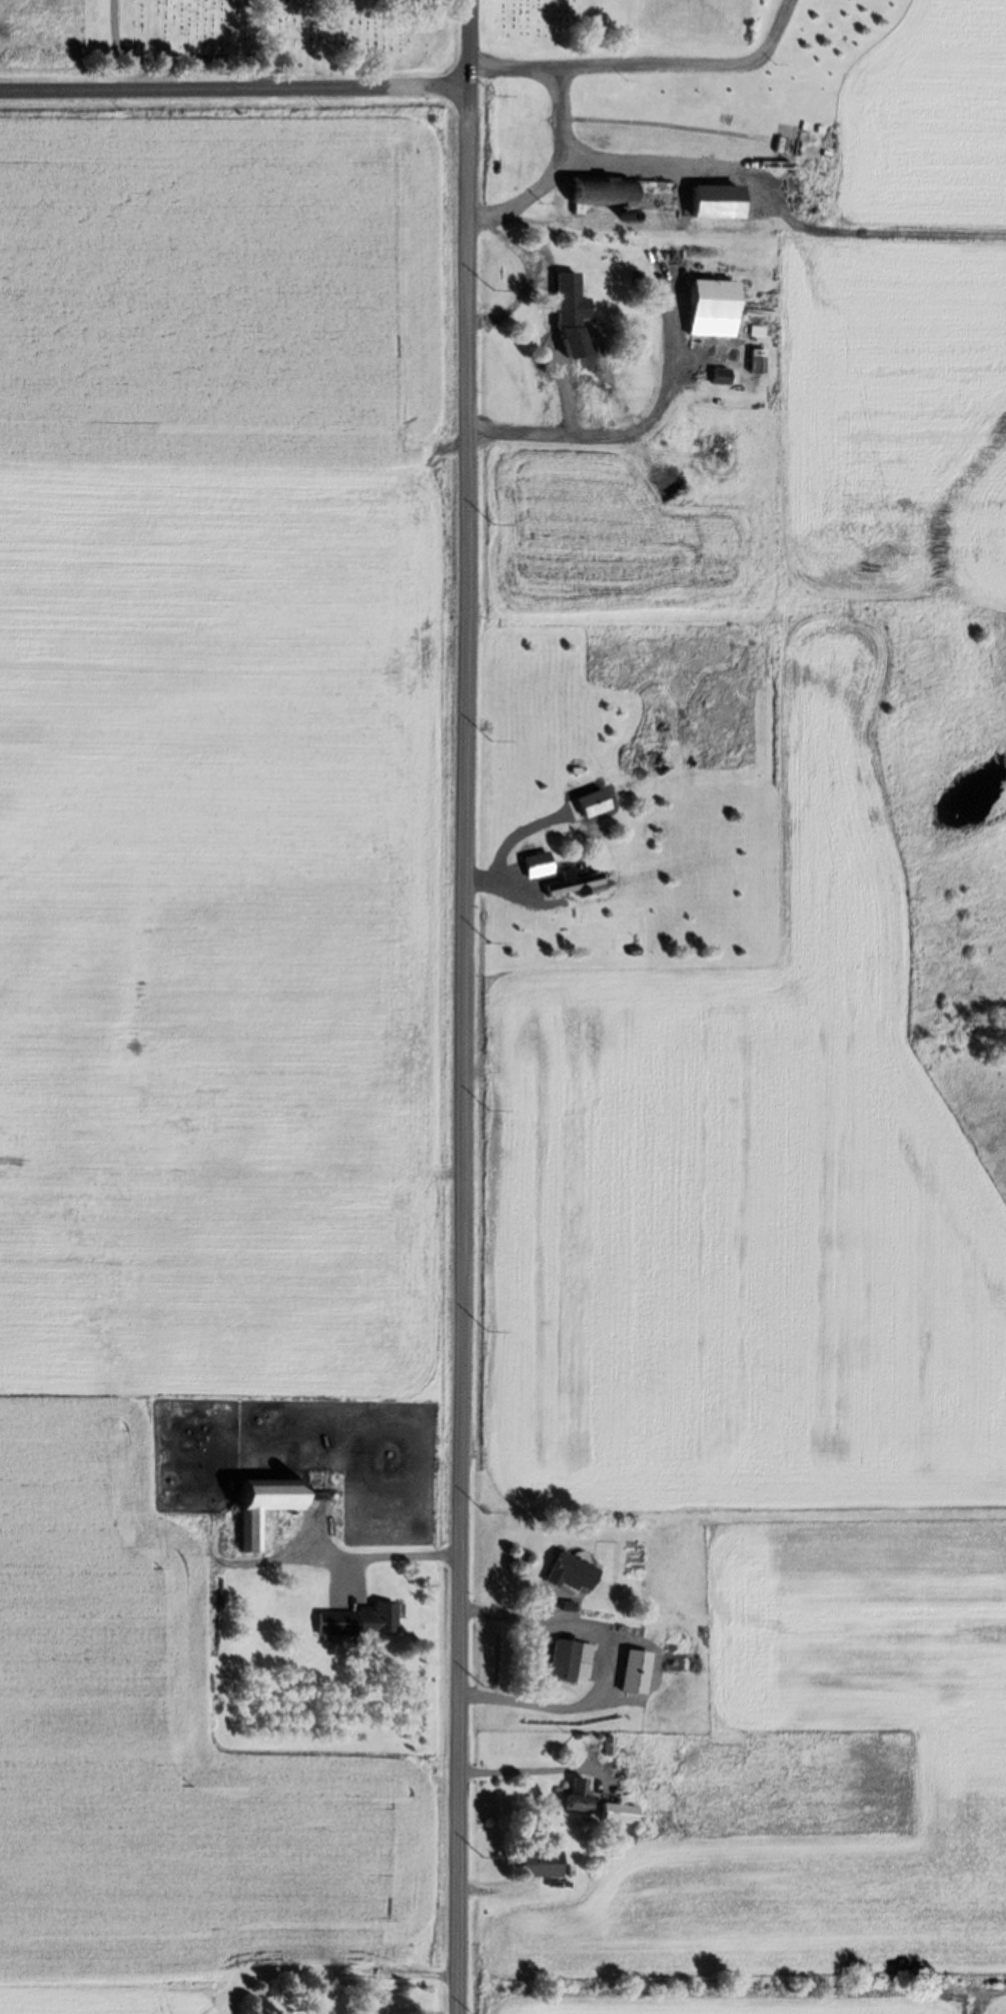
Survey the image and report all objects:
road: (88, 44)
road: (268, 44)
road: (133, 48)
road: (236, 88)
building: (625, 192)
building: (713, 299)
building: (567, 300)
building: (537, 862)
building: (575, 880)
road: (467, 1007)
building: (264, 1504)
building: (573, 1571)
building: (360, 1620)
building: (568, 1658)
building: (635, 1670)
building: (578, 1793)
building: (618, 1812)
building: (541, 1862)

